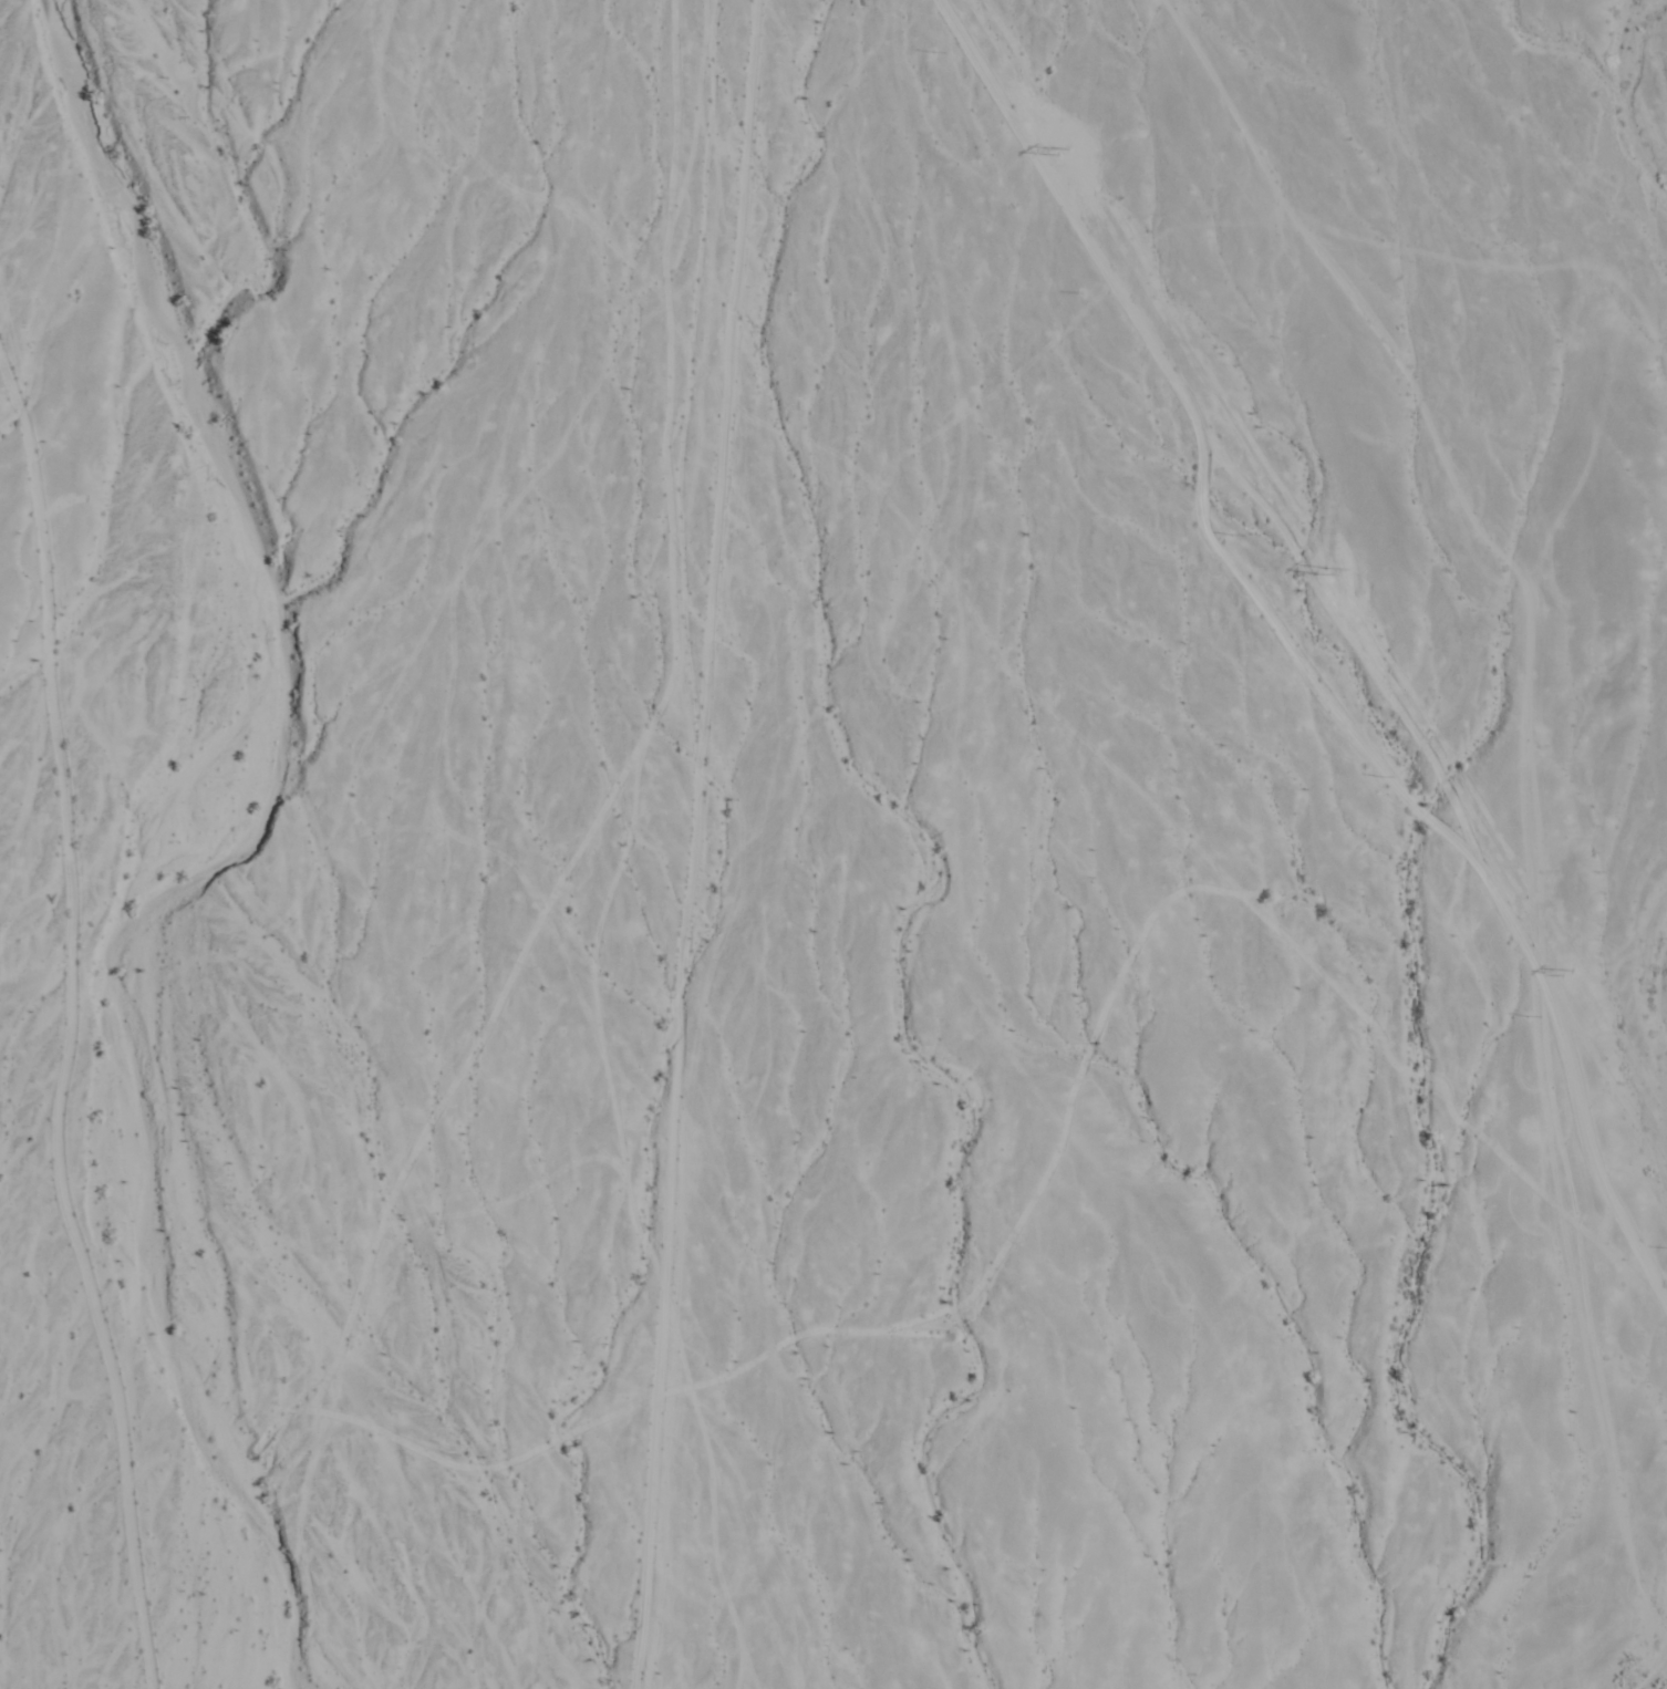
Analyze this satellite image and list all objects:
power tower: (1062, 155)
power tower: (1317, 567)
road: (1300, 649)
road: (702, 844)
power tower: (1567, 975)
road: (71, 1027)

